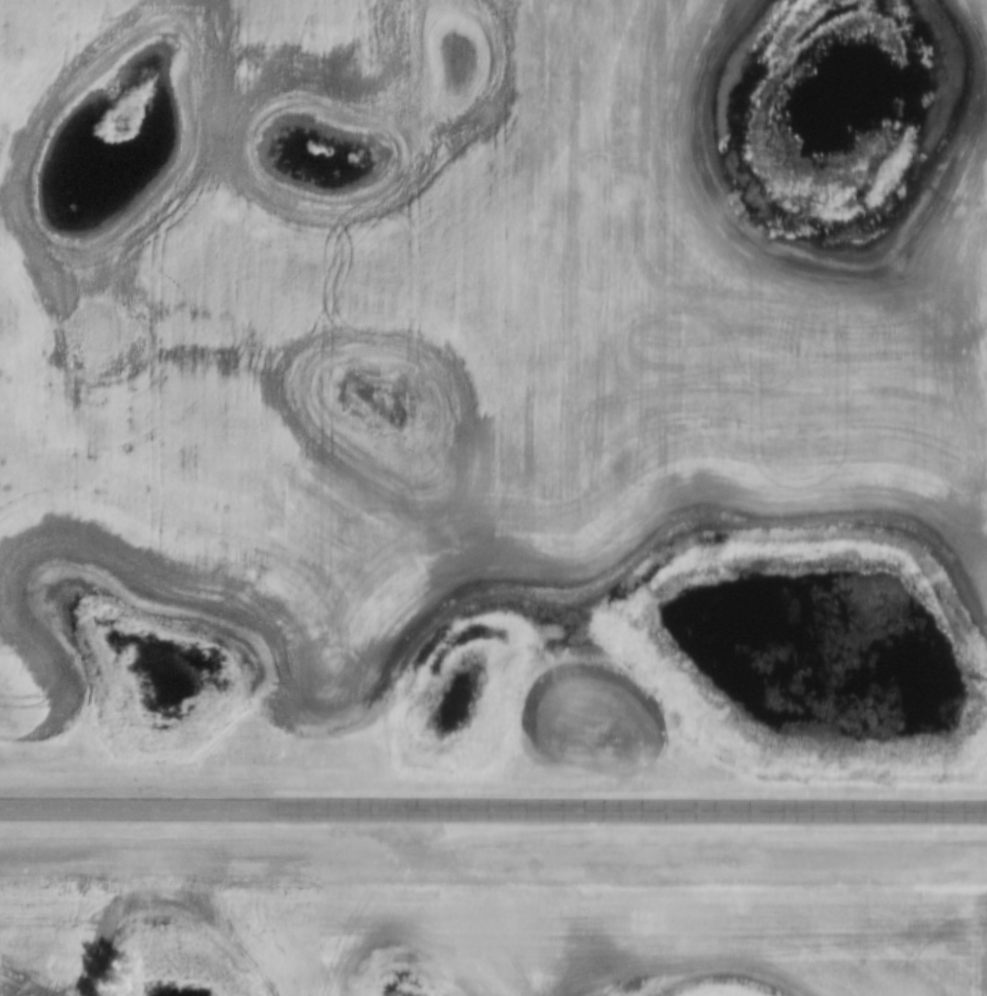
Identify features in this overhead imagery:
road: (493, 813)

